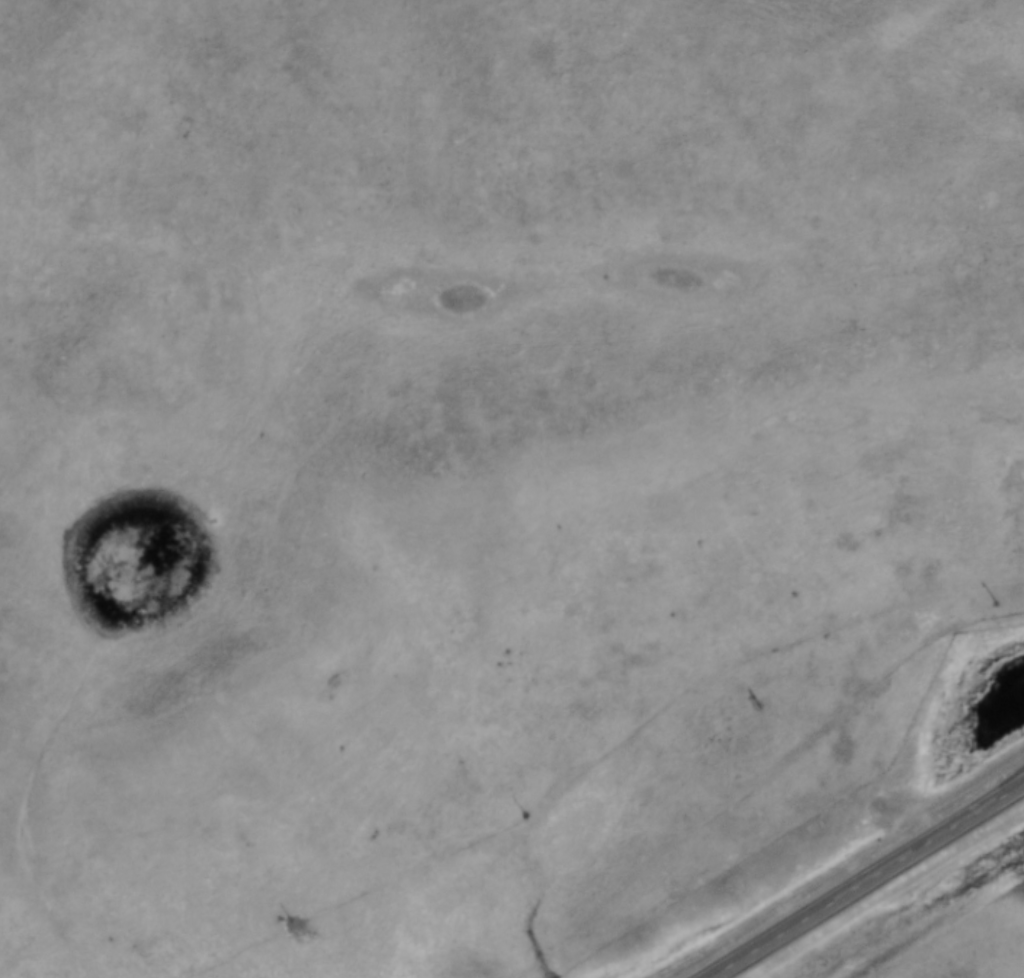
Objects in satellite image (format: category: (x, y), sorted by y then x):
road: (869, 884)

